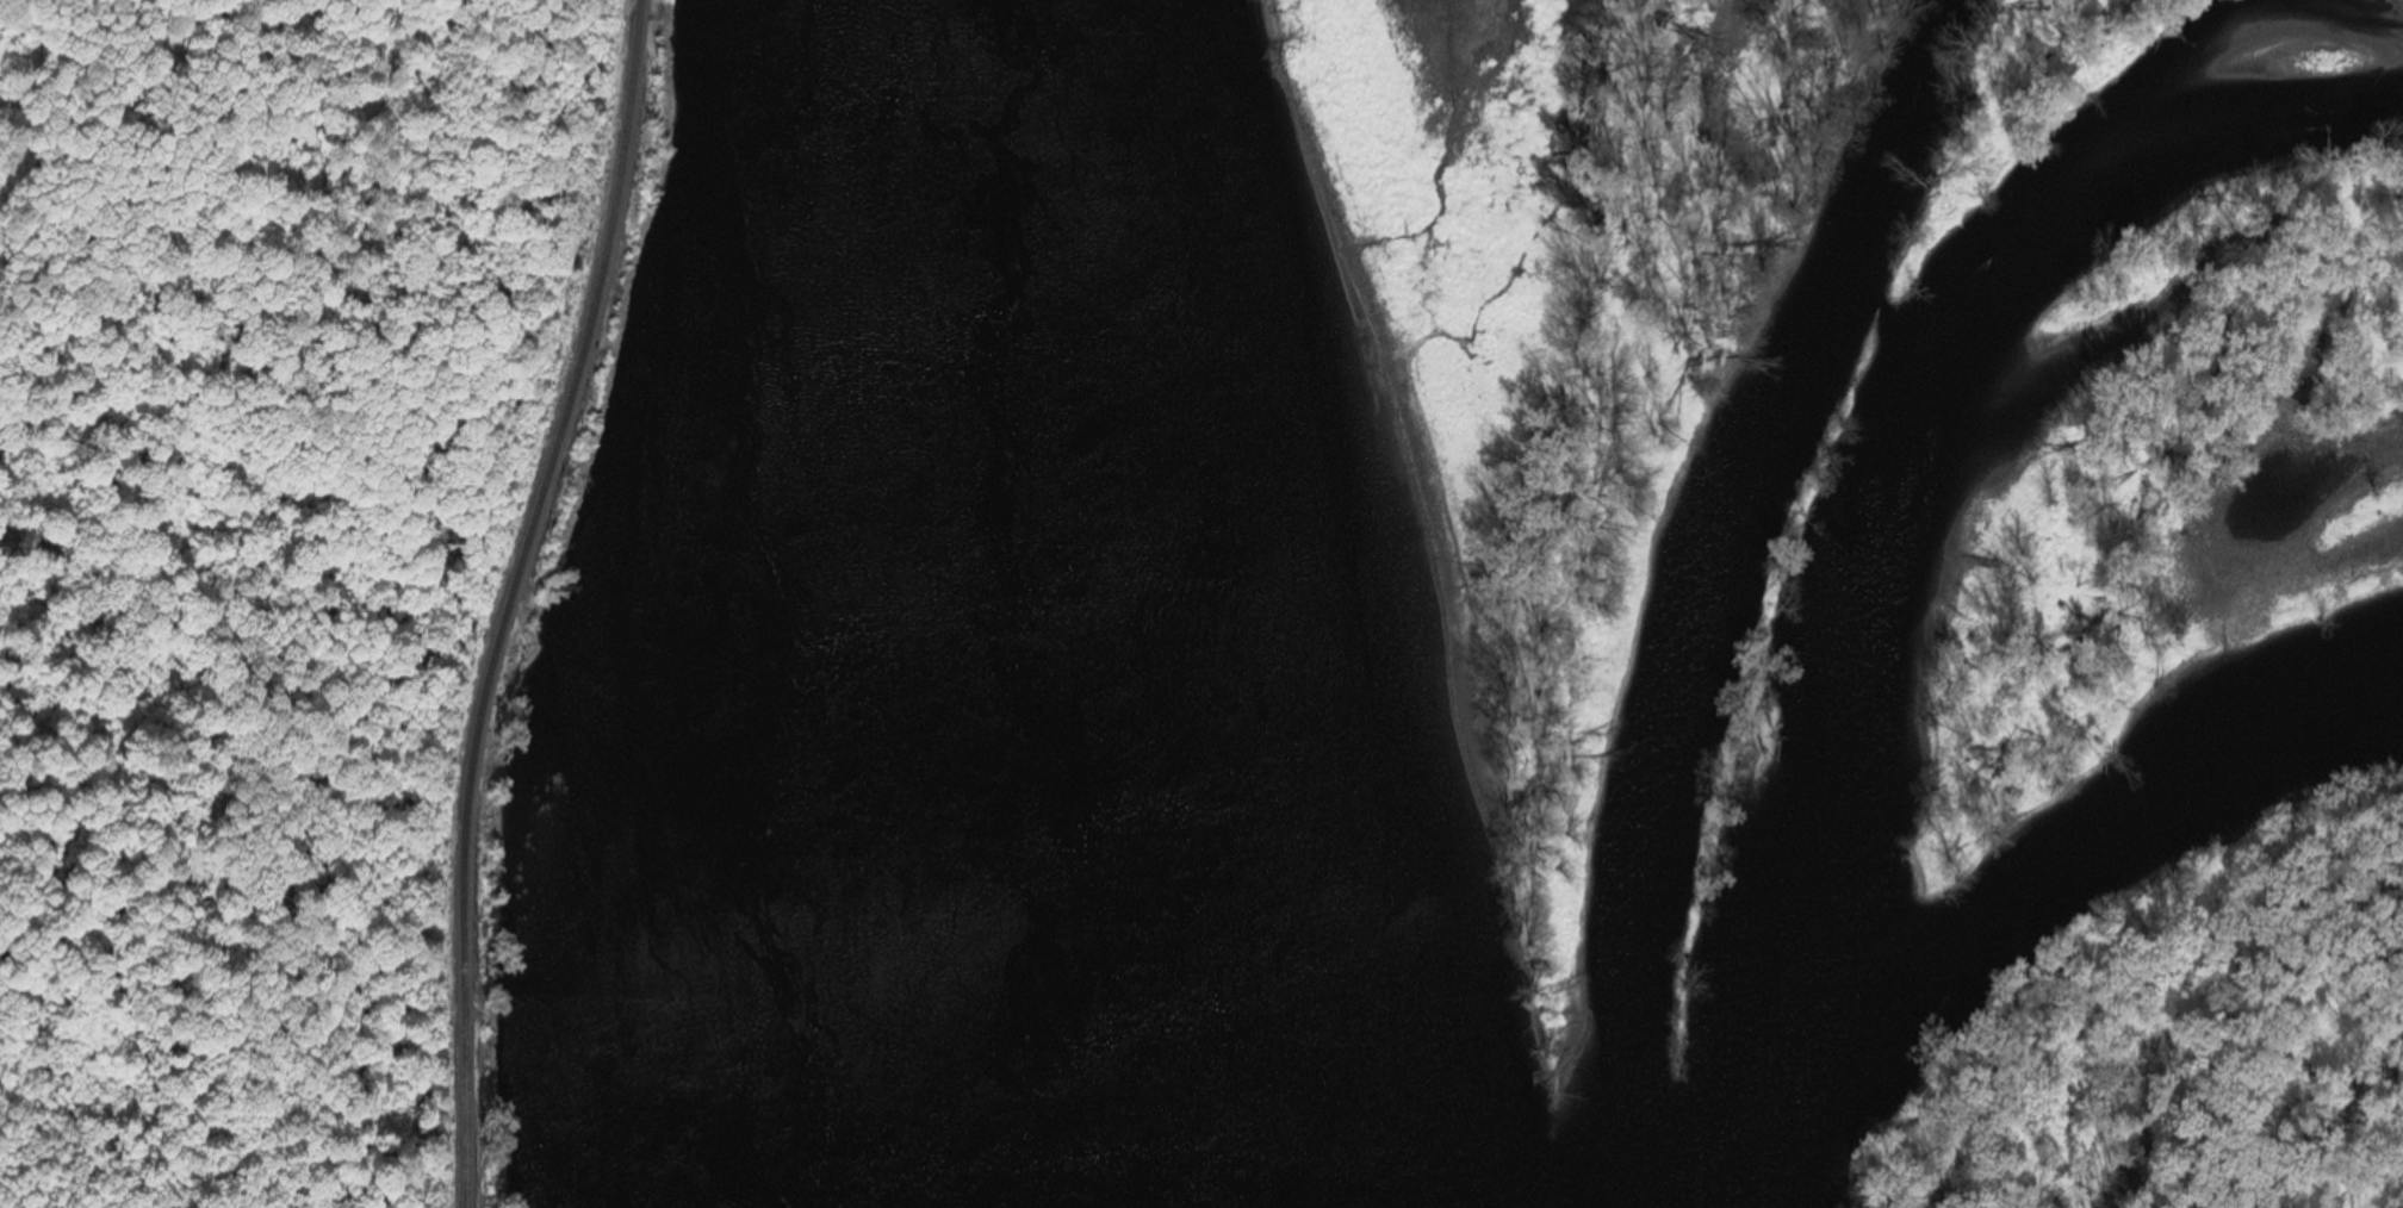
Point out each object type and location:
railway: (508, 598)
river: (1042, 610)

